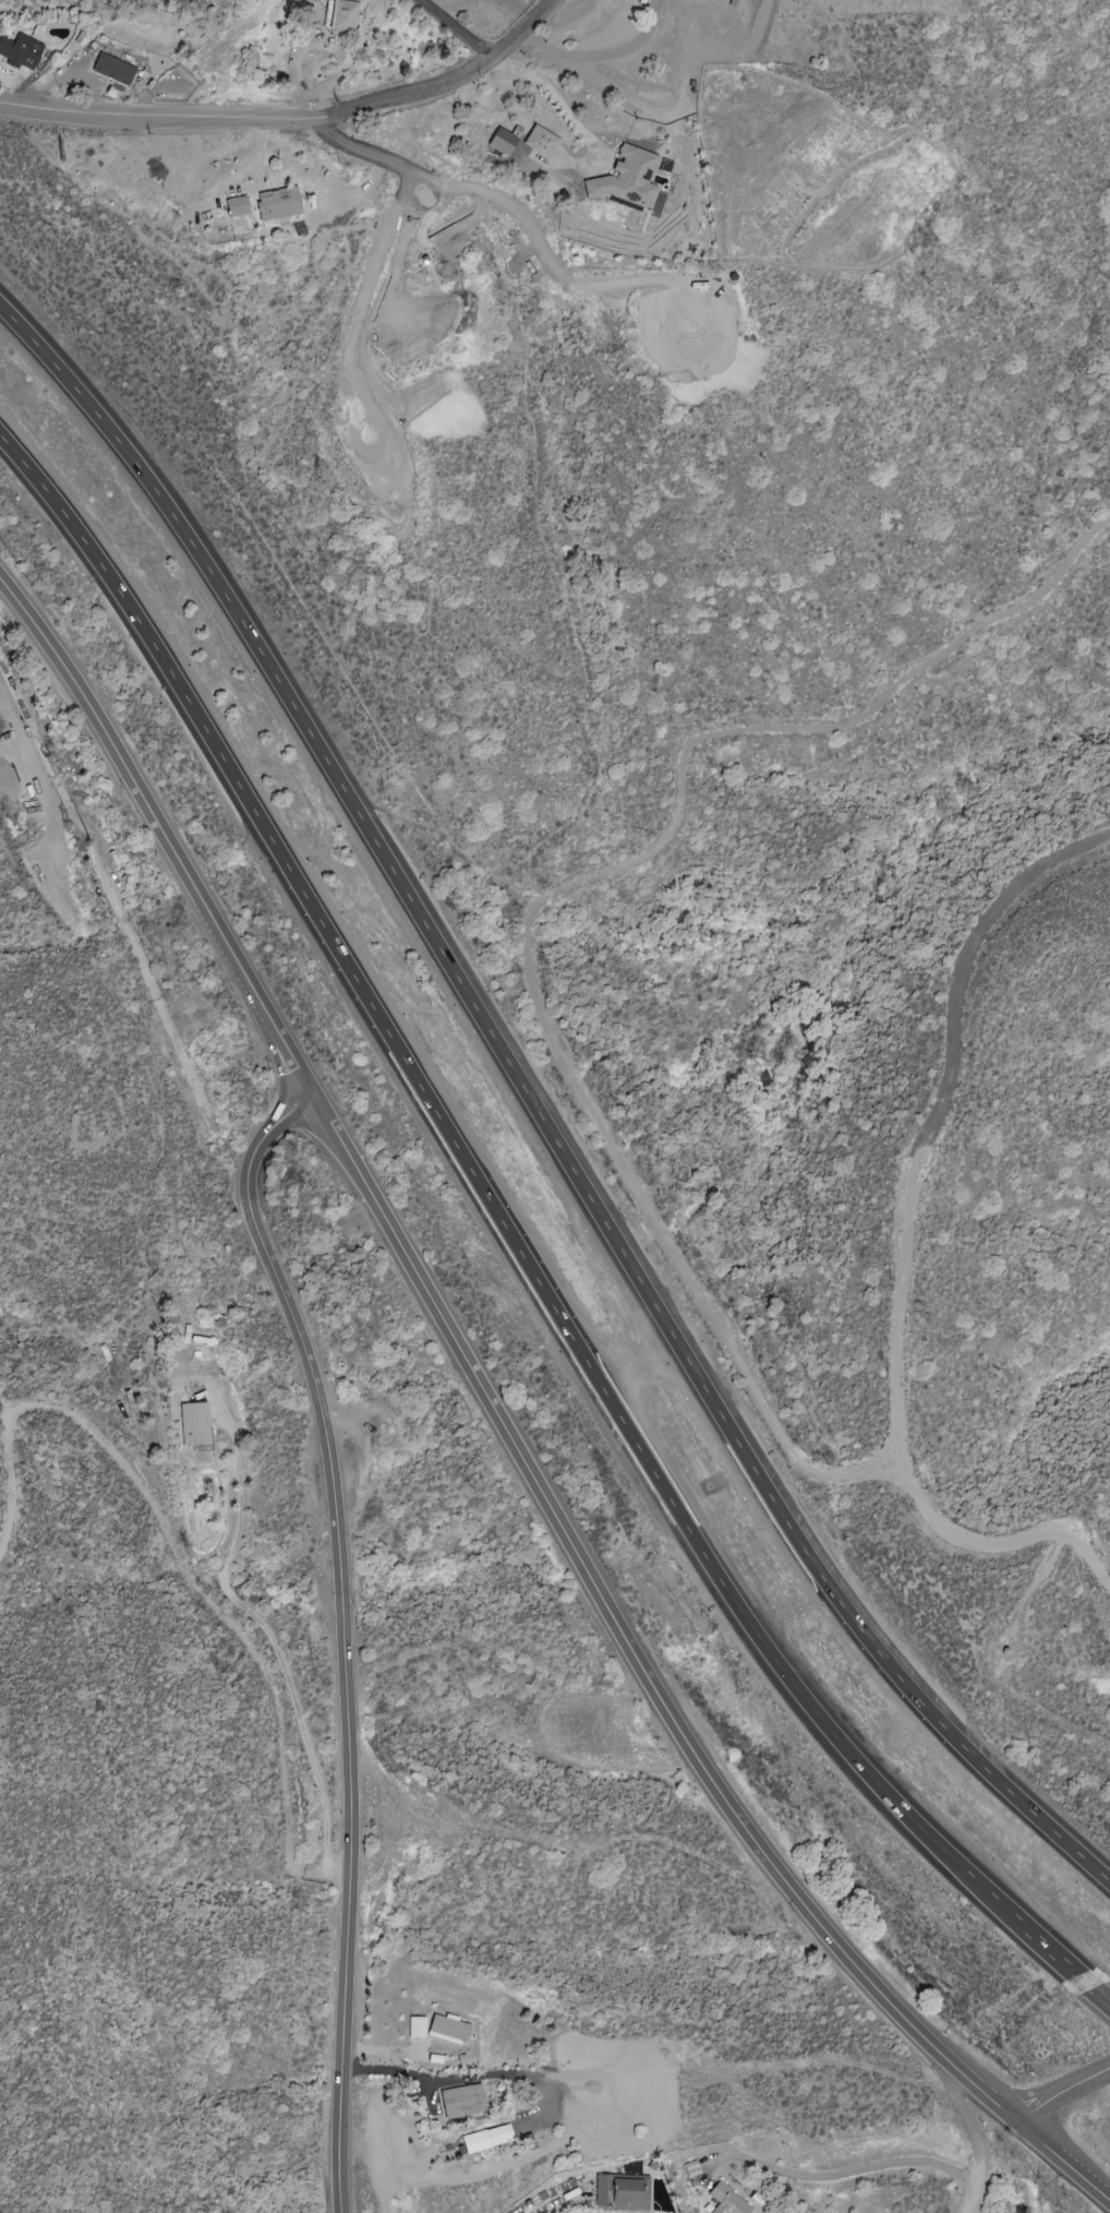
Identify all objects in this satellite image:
building: (342, 15)
road: (454, 28)
building: (20, 51)
road: (599, 55)
building: (112, 69)
road: (449, 80)
road: (551, 93)
road: (162, 118)
building: (502, 142)
building: (541, 142)
road: (430, 176)
building: (626, 178)
building: (237, 206)
building: (277, 206)
road: (965, 958)
road: (547, 1028)
road: (273, 1051)
road: (541, 1106)
road: (517, 1232)
road: (897, 1303)
building: (193, 1424)
road: (505, 1428)
road: (340, 1630)
road: (274, 1647)
road: (1100, 2002)
building: (415, 2026)
building: (448, 2027)
road: (460, 2078)
road: (1061, 2090)
building: (462, 2101)
building: (486, 2139)
road: (968, 2141)
road: (837, 2172)
building: (620, 2192)
road: (557, 2197)
building: (727, 2200)

